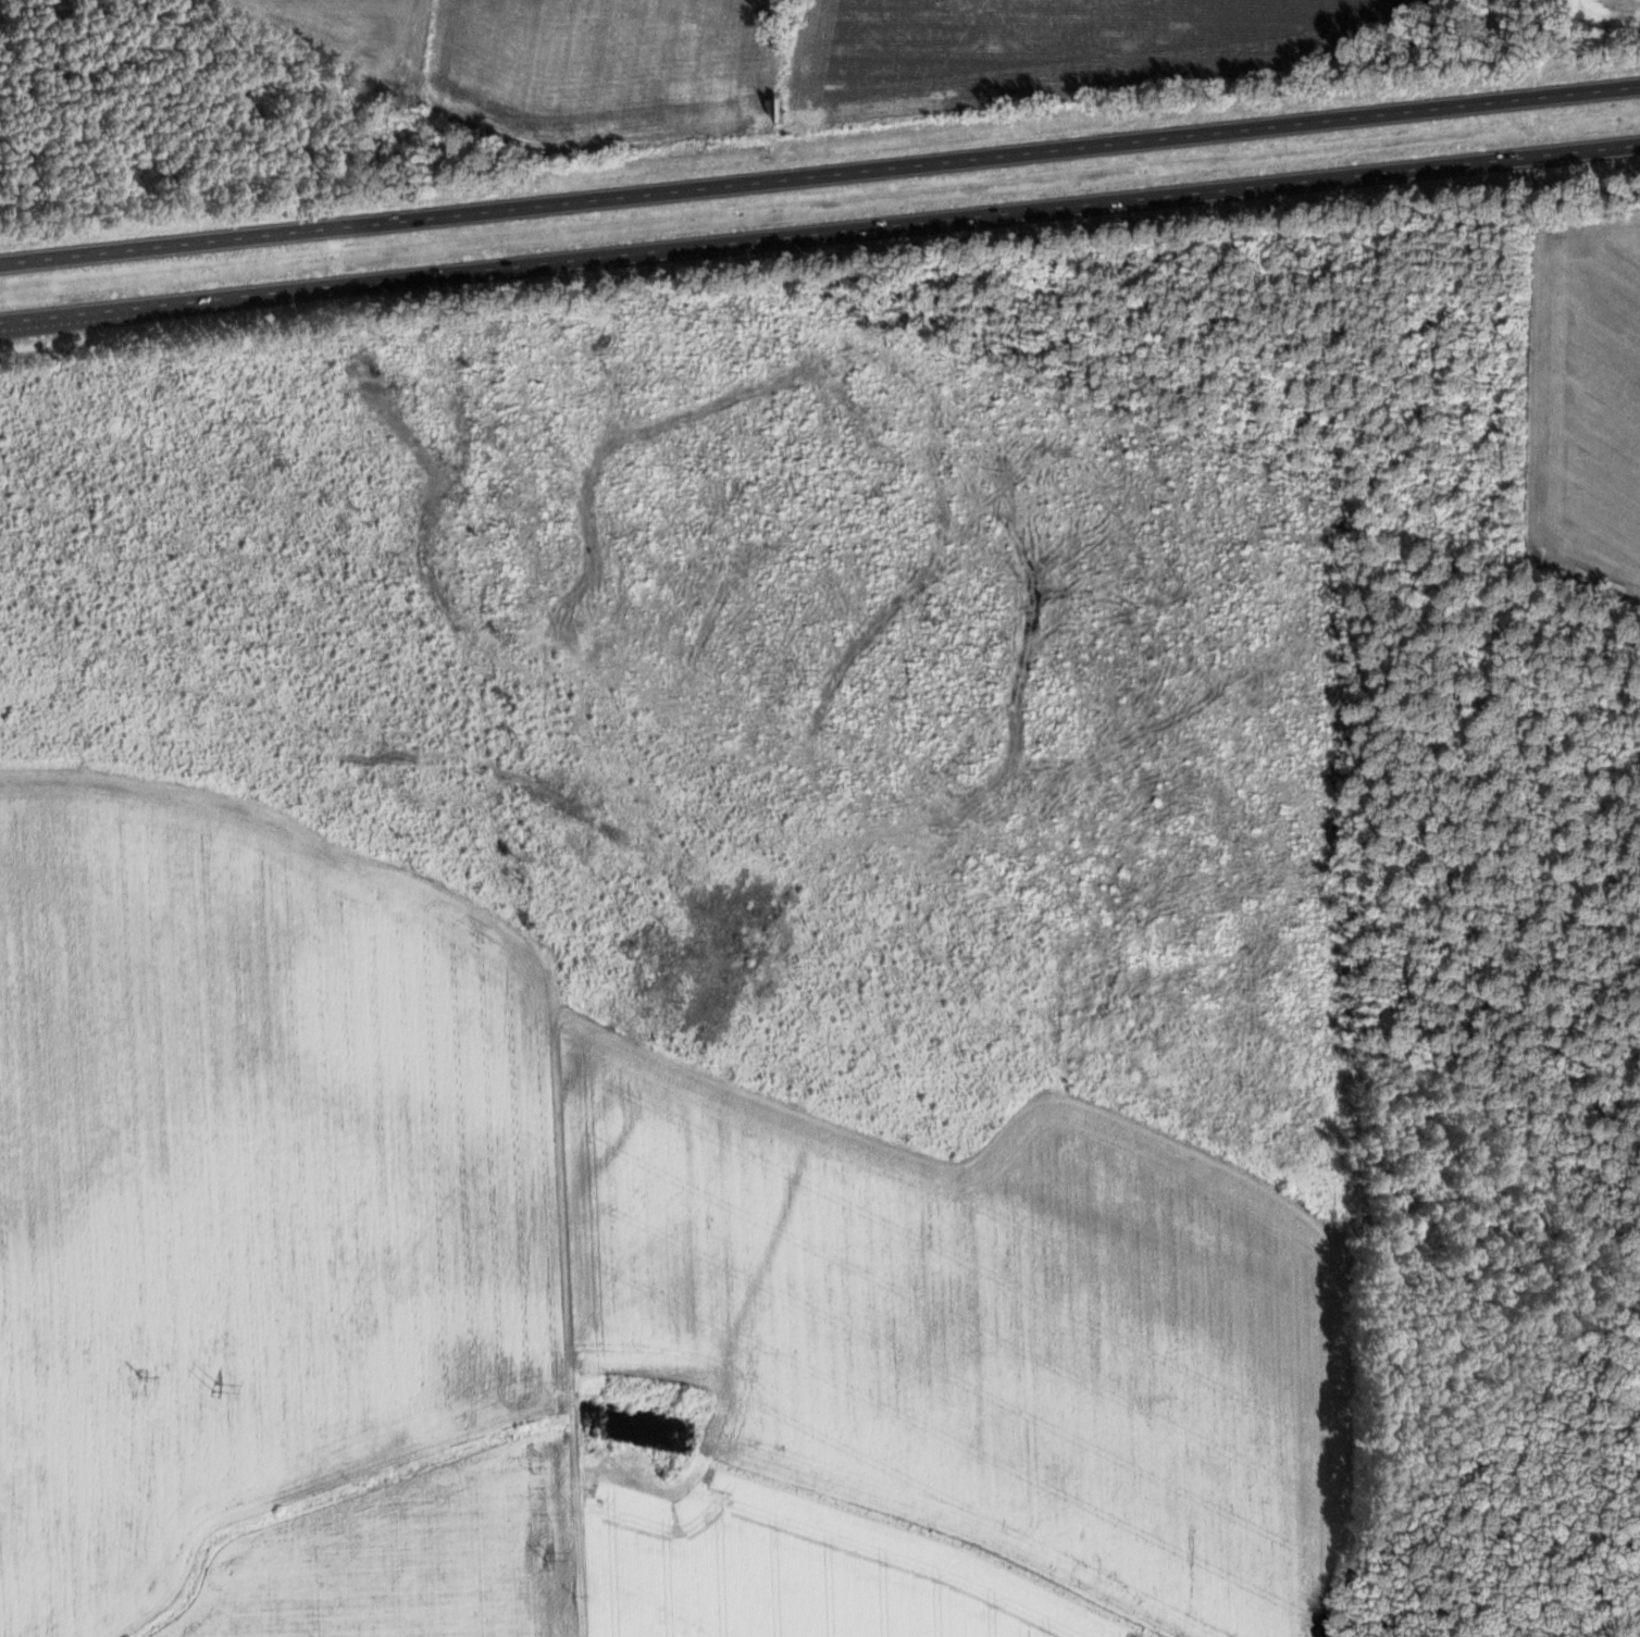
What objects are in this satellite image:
road: (819, 173)
road: (819, 231)
power tower: (215, 1388)
power tower: (549, 1558)

